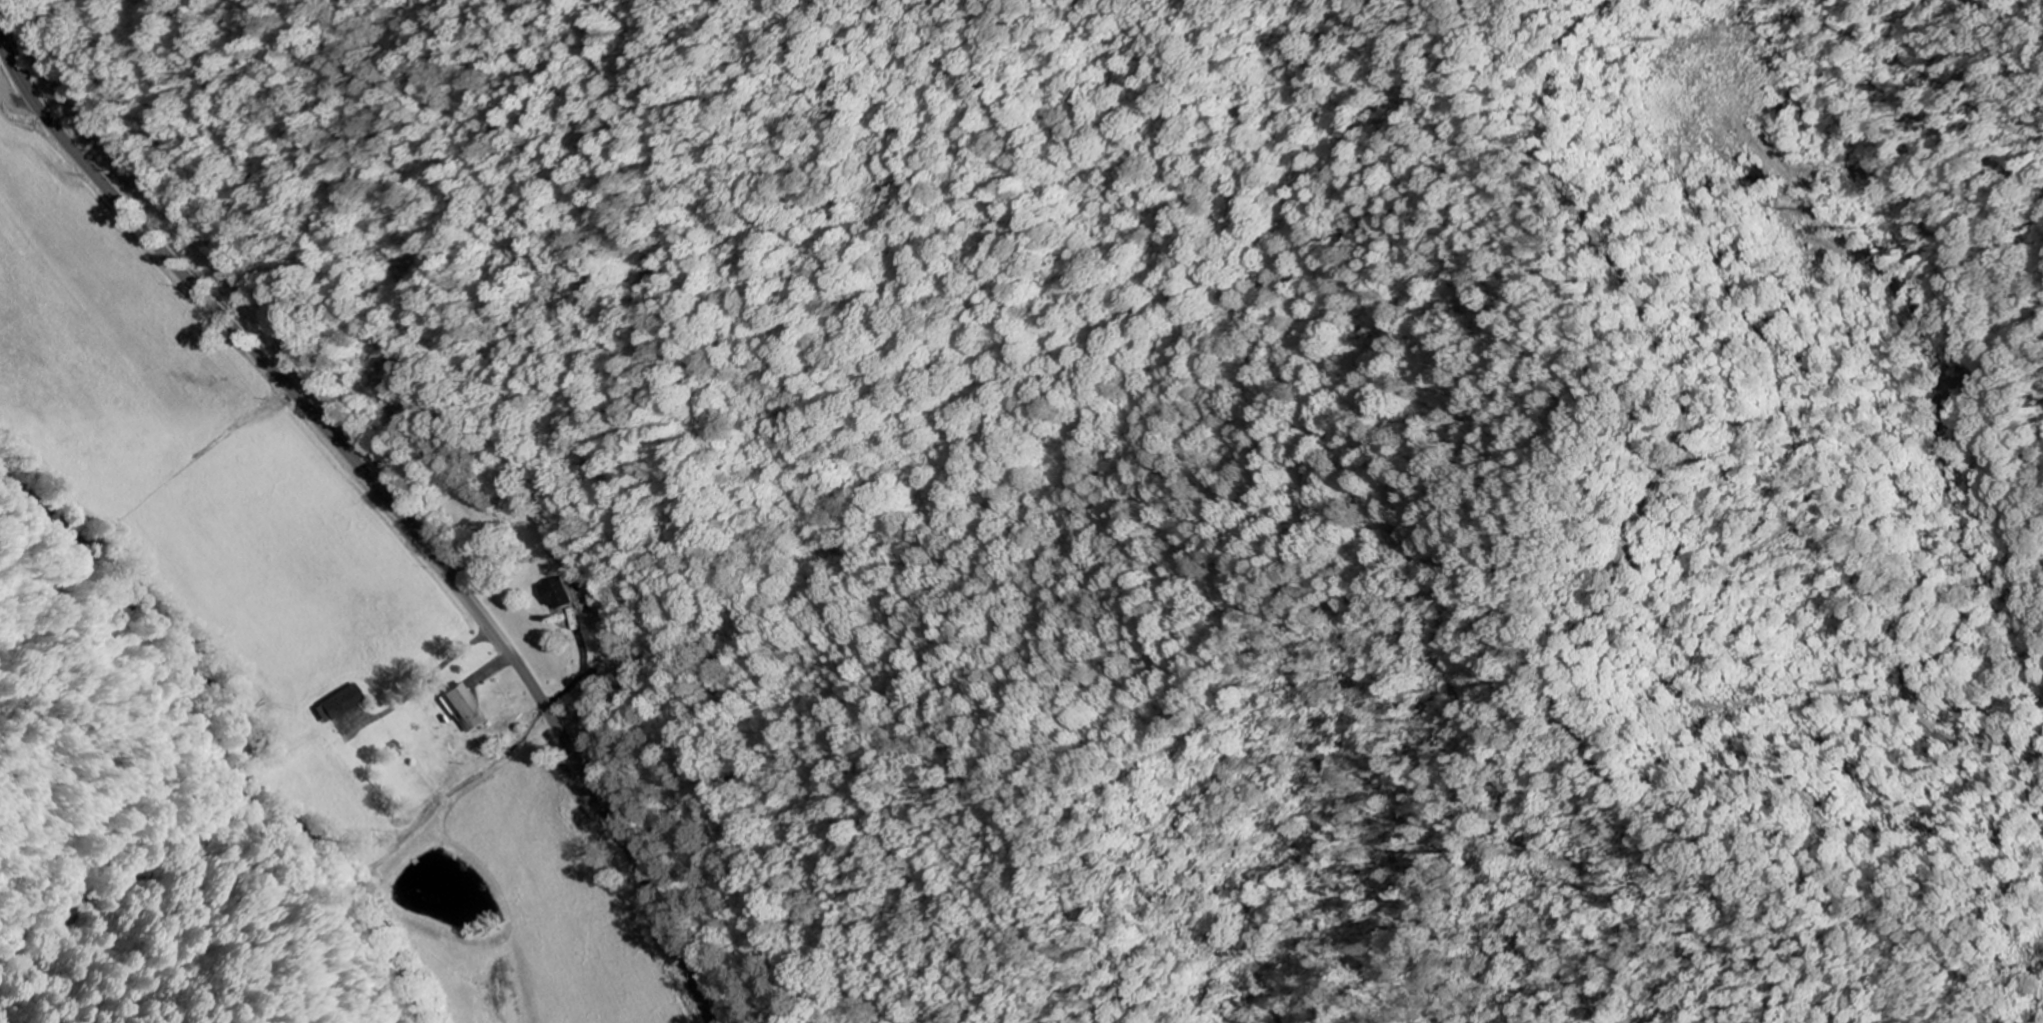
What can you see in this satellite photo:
road: (16, 101)
road: (389, 502)
building: (561, 594)
building: (342, 704)
building: (466, 708)

